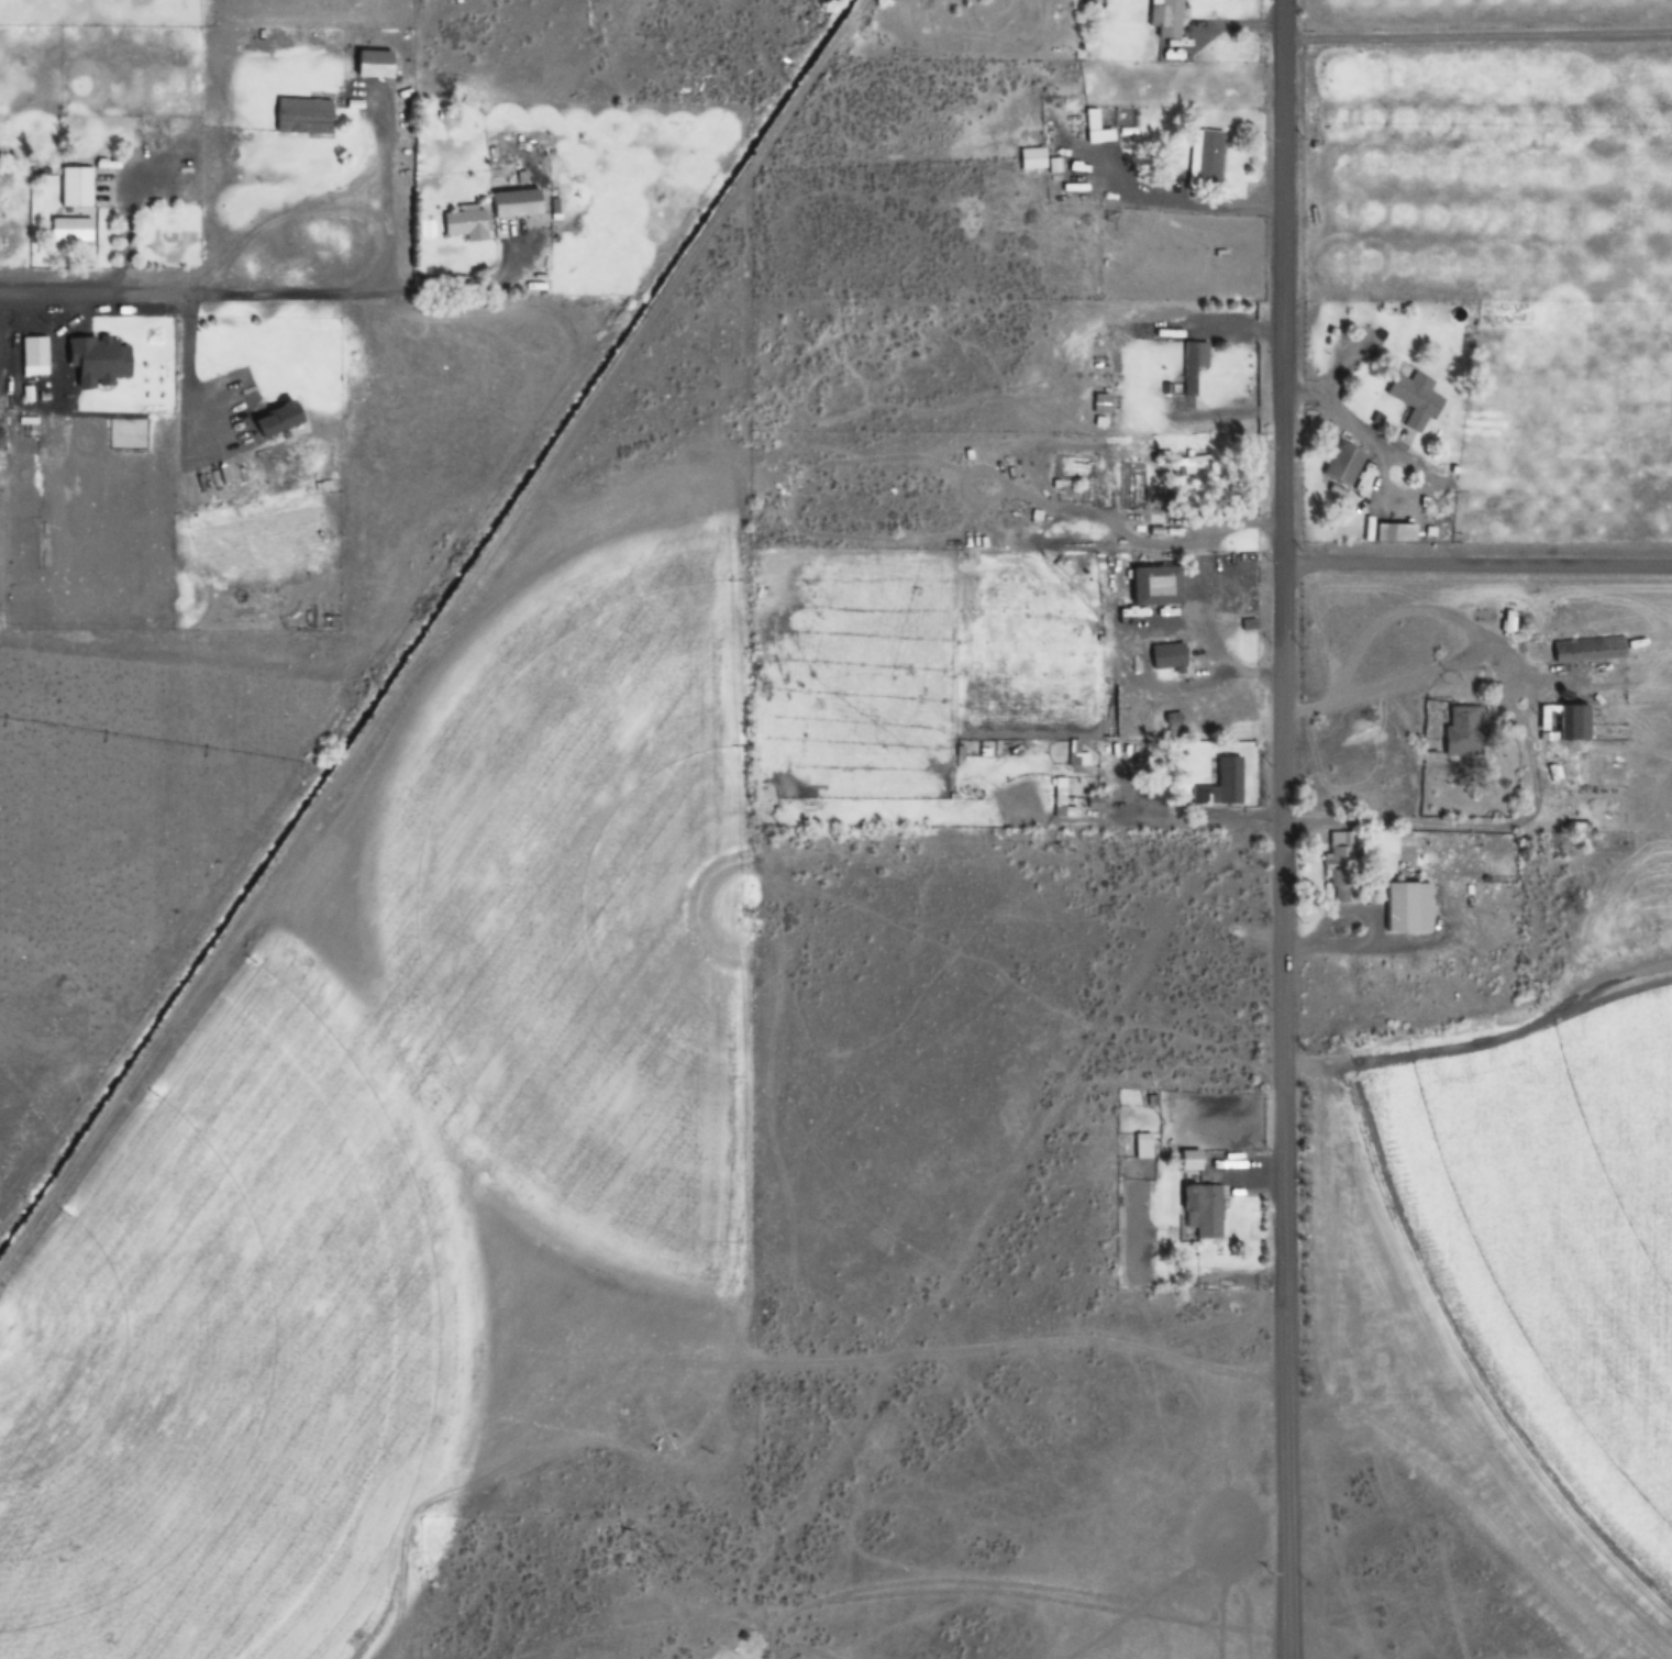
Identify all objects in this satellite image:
building: (1166, 18)
road: (1480, 36)
building: (375, 64)
building: (301, 115)
building: (1094, 128)
building: (1129, 135)
building: (1207, 157)
building: (1036, 161)
building: (75, 187)
building: (516, 202)
building: (624, 202)
building: (464, 222)
building: (71, 229)
road: (182, 284)
building: (1192, 368)
building: (1414, 399)
building: (278, 420)
building: (1099, 422)
building: (1342, 463)
building: (1181, 465)
building: (1394, 532)
road: (1479, 560)
building: (1094, 563)
building: (1151, 586)
building: (308, 615)
building: (1587, 649)
building: (1562, 722)
building: (1463, 730)
building: (1229, 781)
building: (1095, 804)
crop: (1536, 828)
road: (1286, 829)
building: (1342, 869)
building: (1405, 907)
building: (1143, 1146)
building: (1202, 1209)

